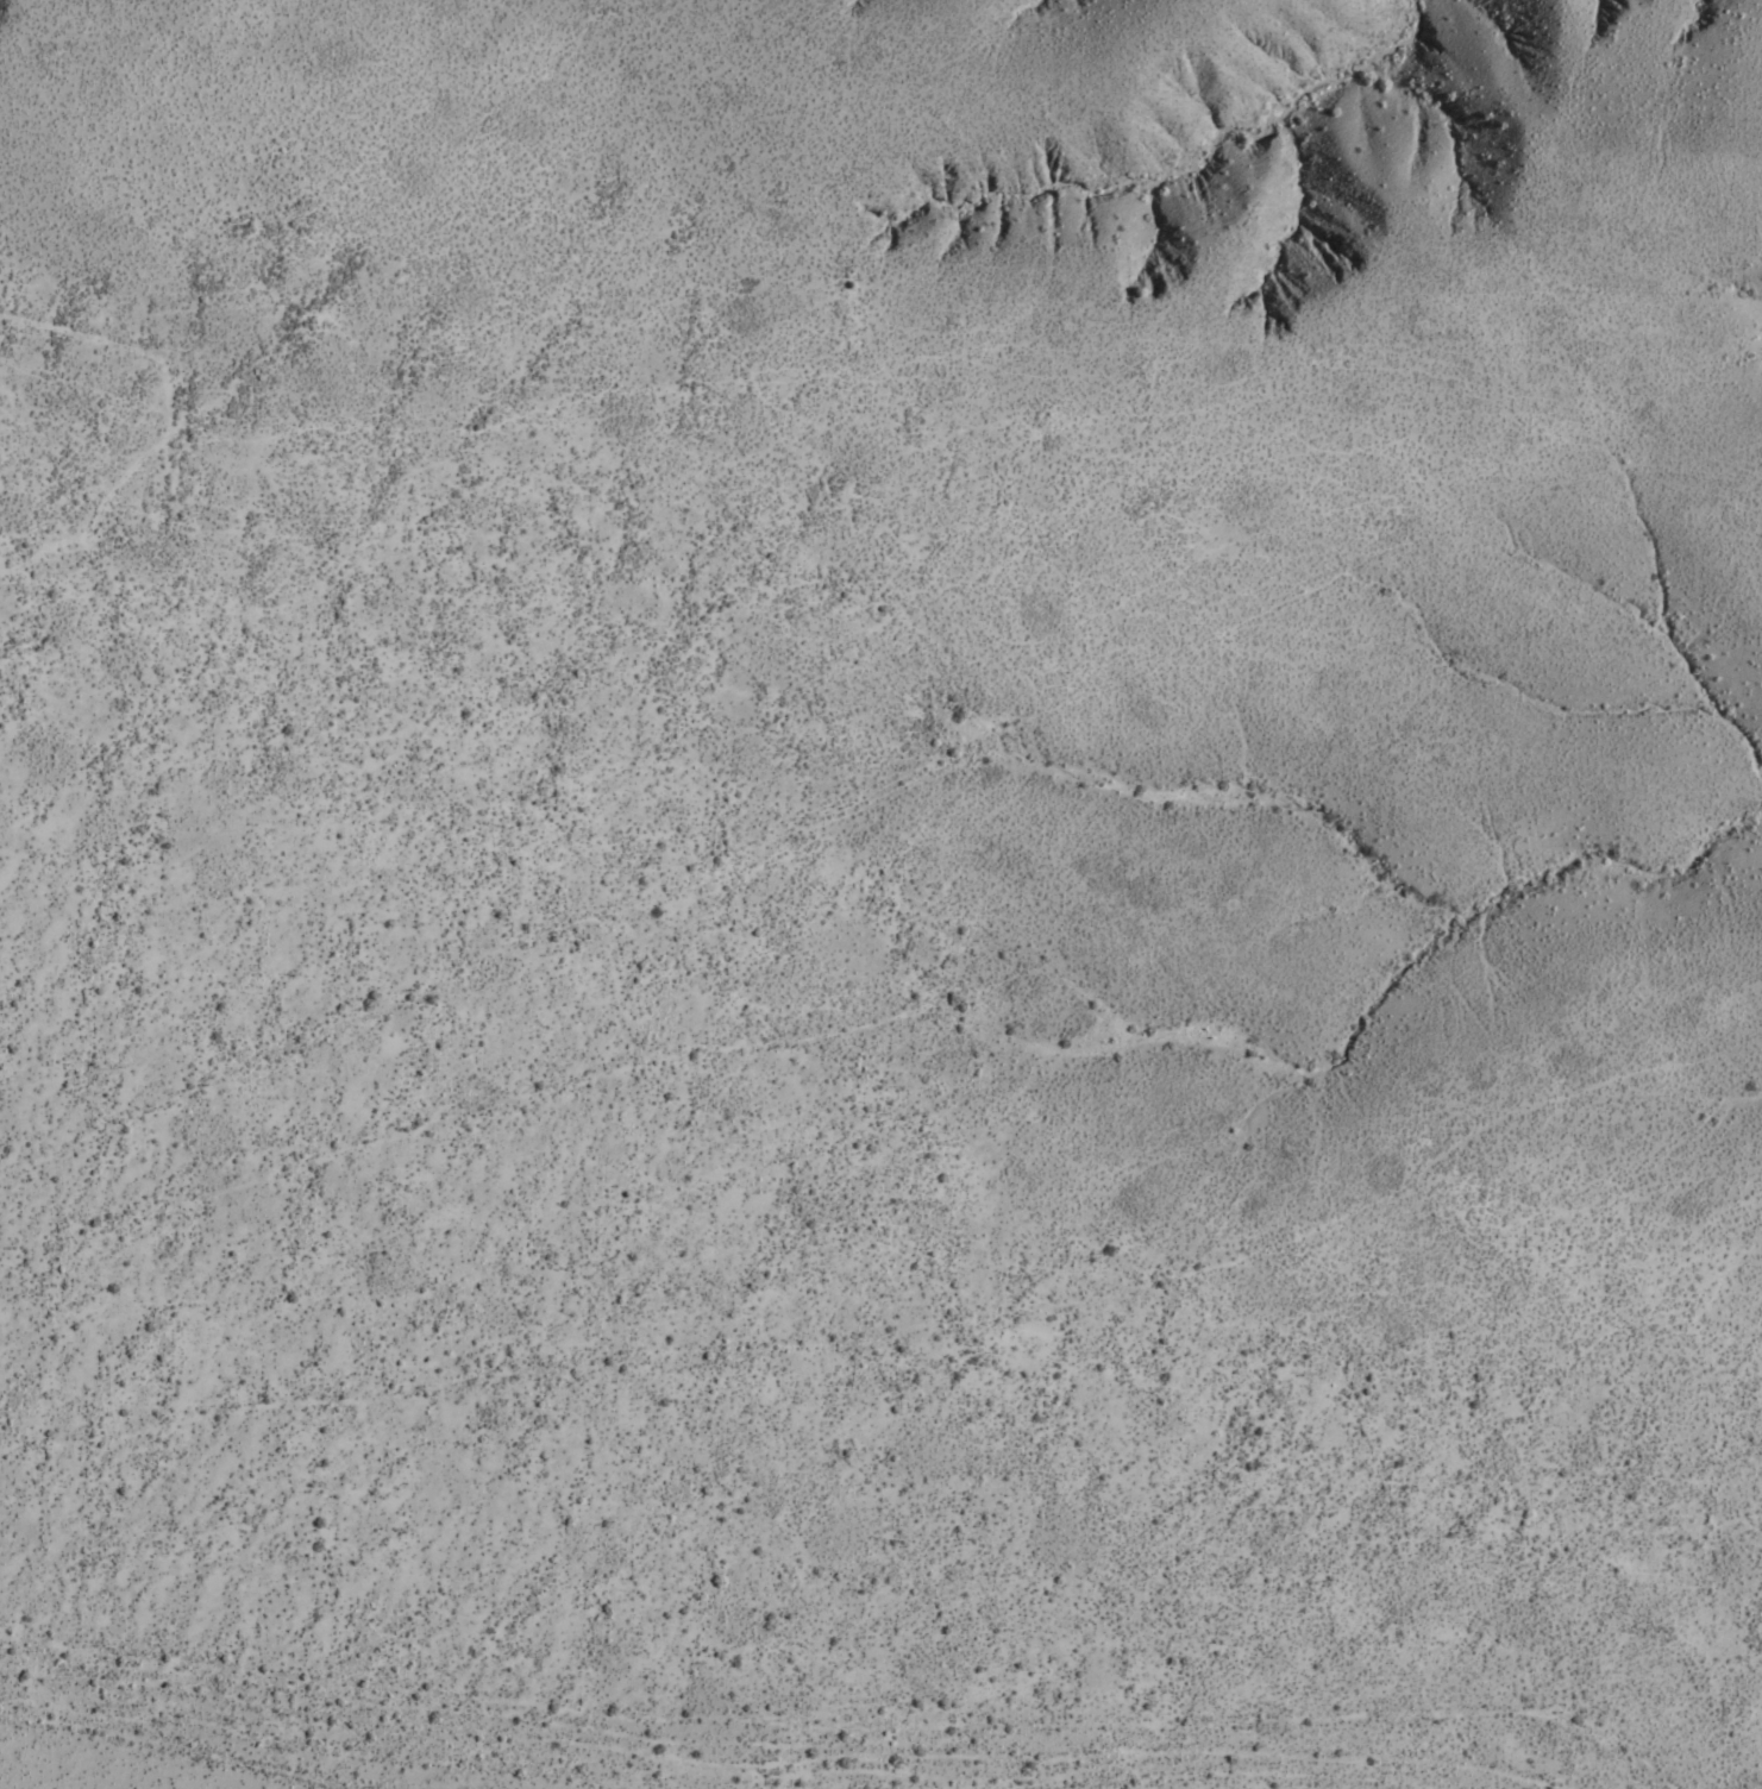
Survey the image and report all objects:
road: (608, 1762)

